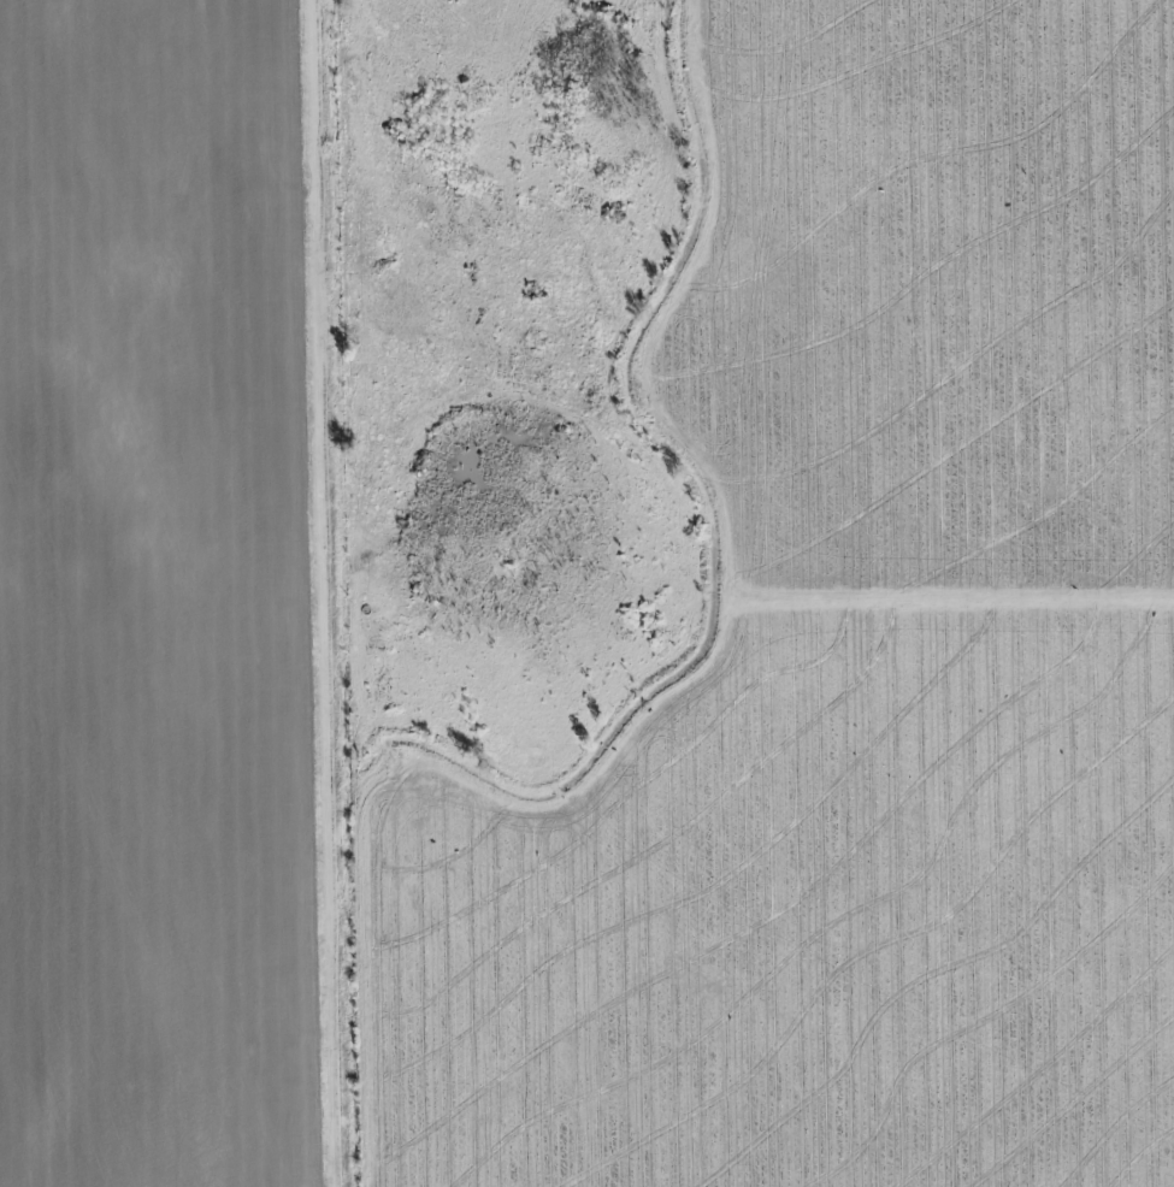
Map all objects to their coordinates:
road: (334, 593)

